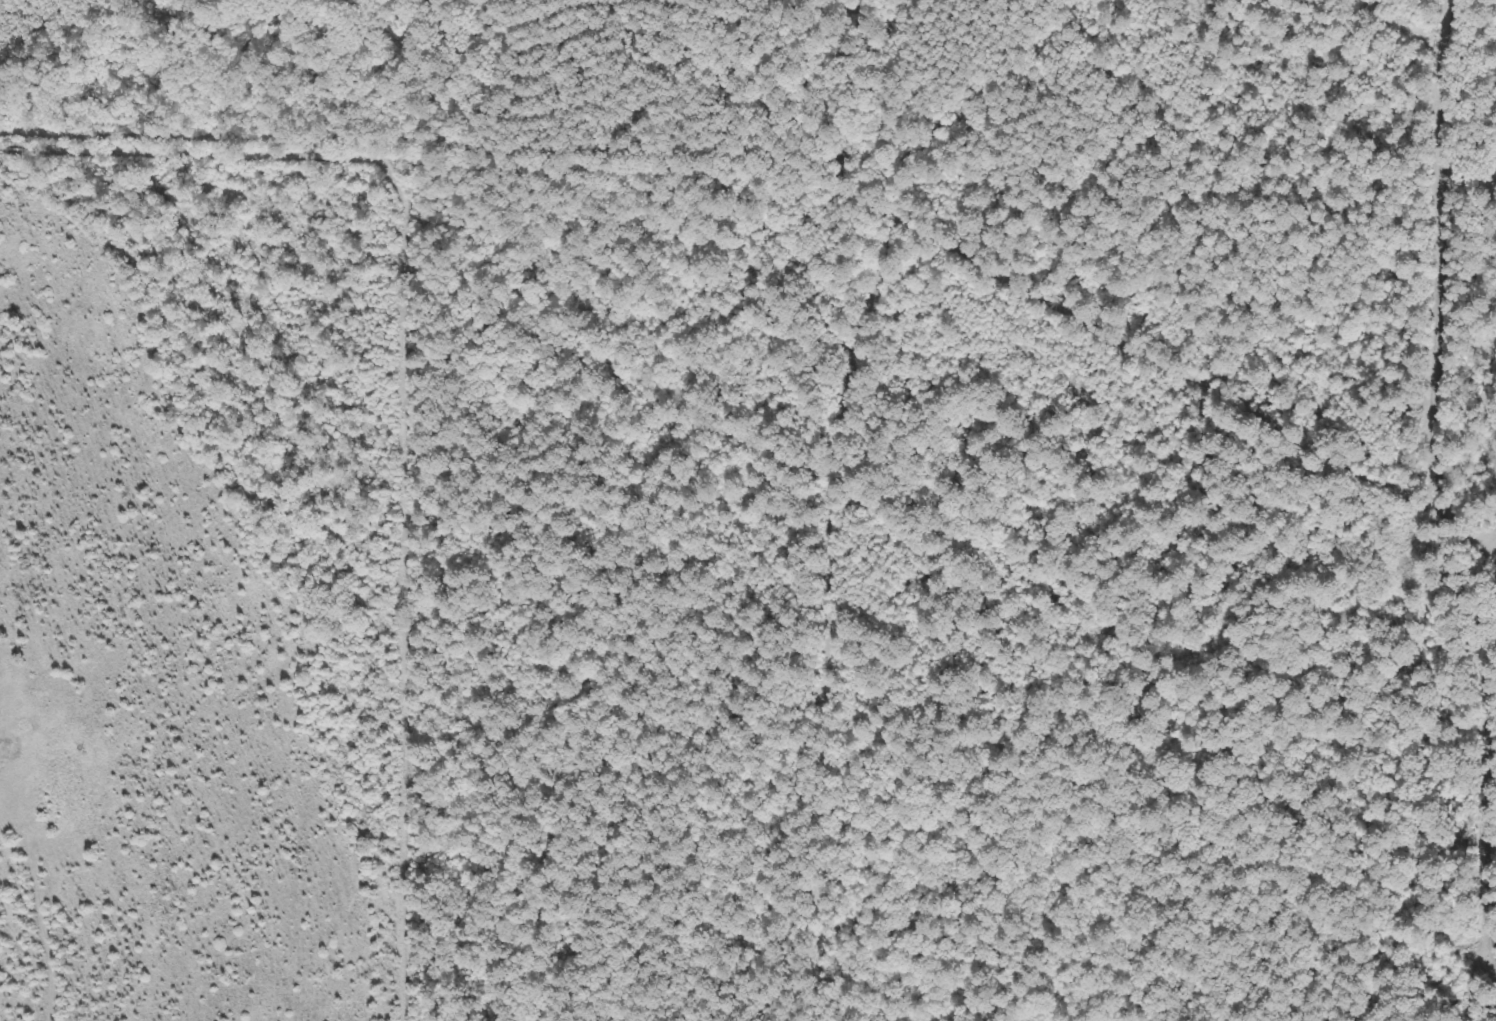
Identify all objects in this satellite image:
road: (1352, 22)
road: (1438, 510)

